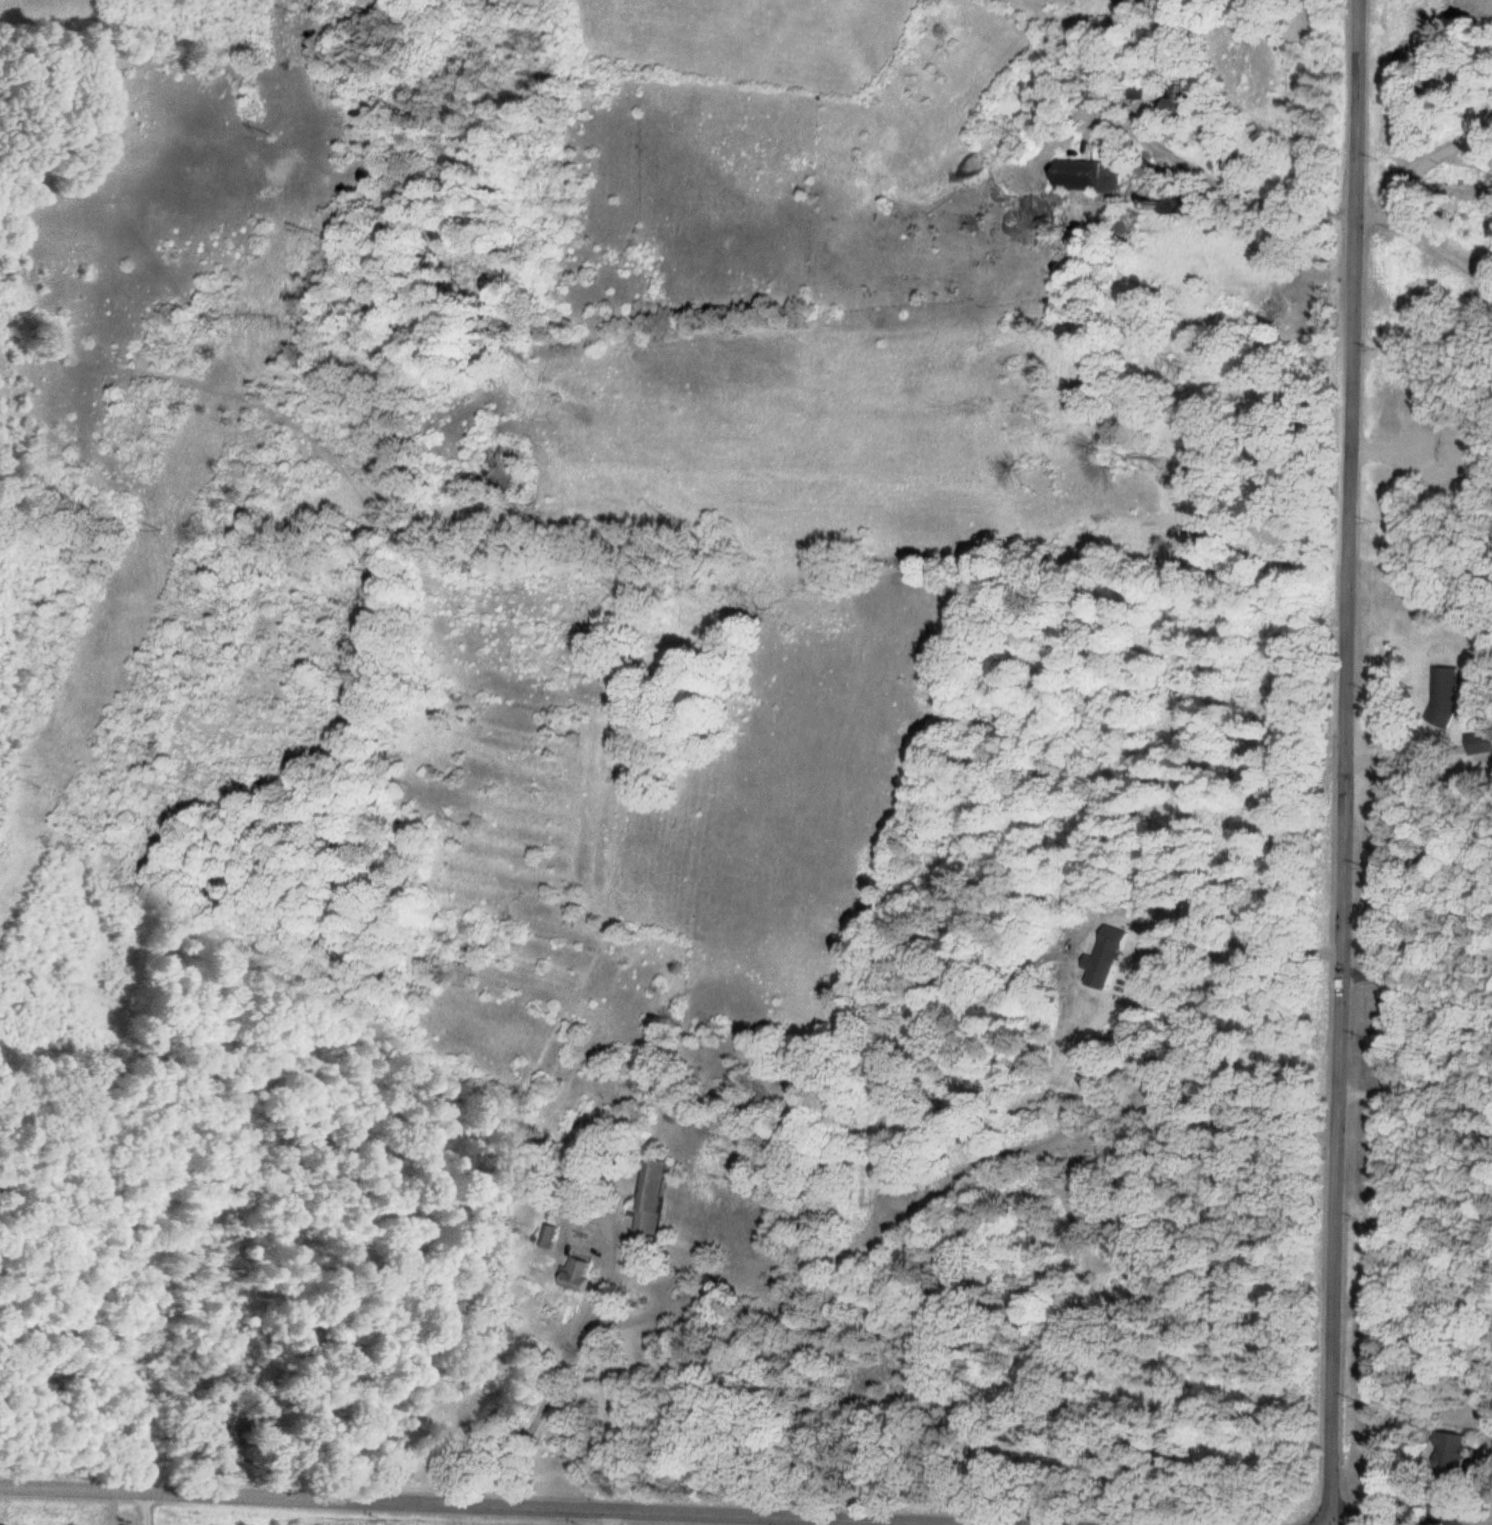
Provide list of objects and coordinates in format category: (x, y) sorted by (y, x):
building: (1178, 99)
building: (1445, 696)
road: (1349, 762)
building: (649, 1196)
building: (549, 1237)
building: (575, 1274)
building: (1453, 1453)
road: (541, 1501)

